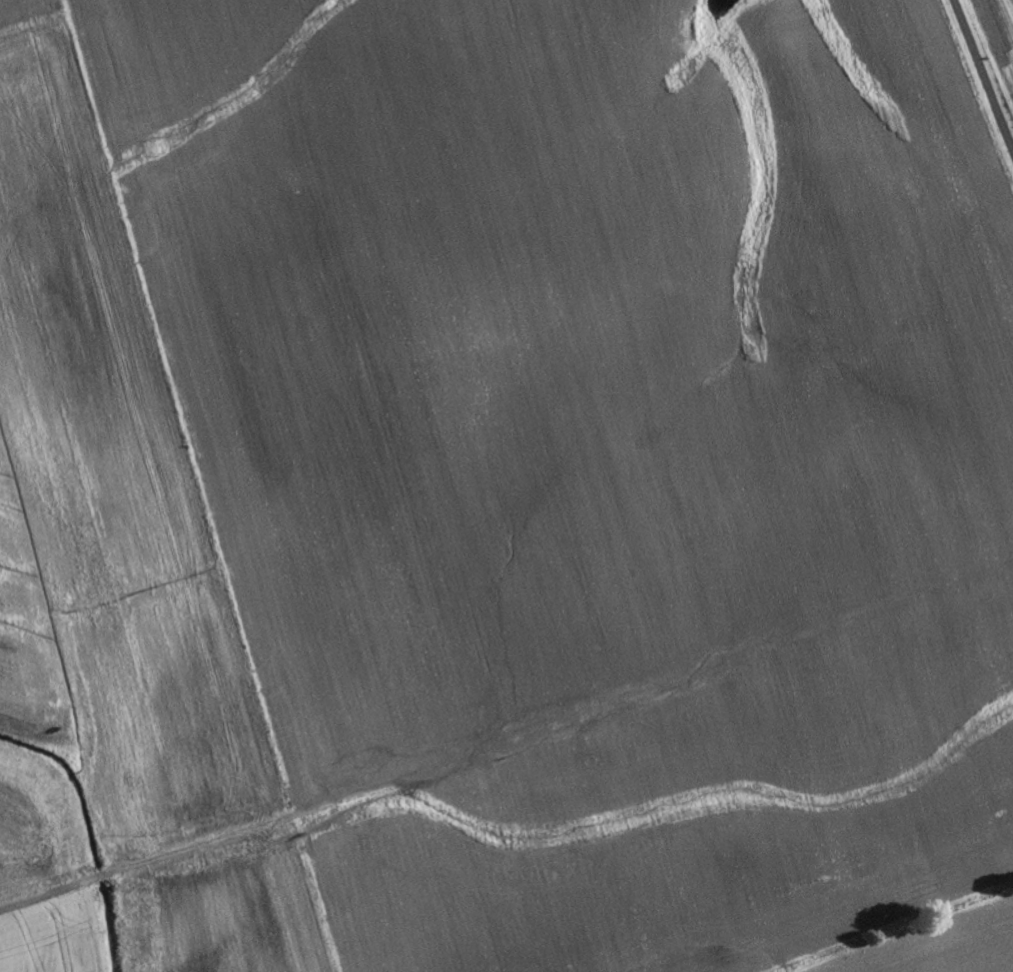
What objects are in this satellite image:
road: (982, 78)

